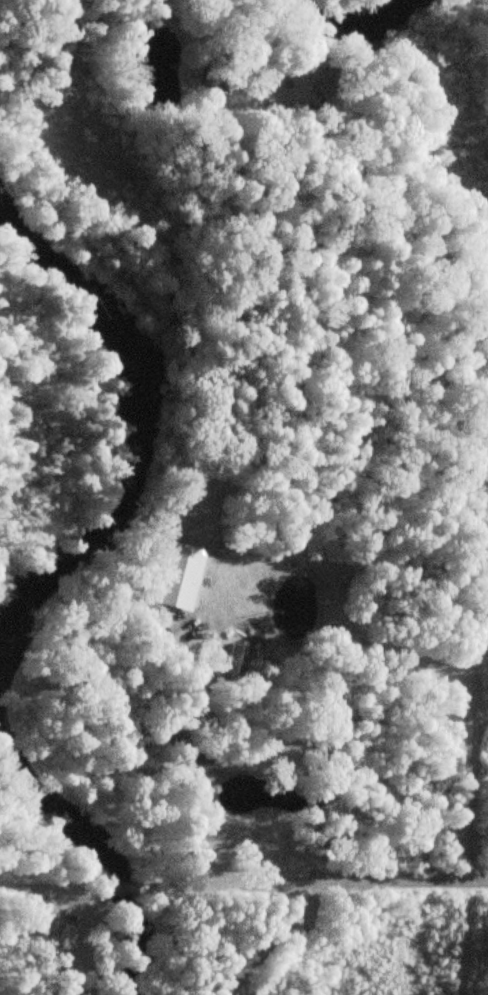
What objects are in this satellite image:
river: (347, 17)
building: (318, 84)
road: (399, 211)
river: (146, 436)
road: (474, 713)
road: (287, 760)
building: (217, 846)
river: (96, 849)
road: (344, 887)
road: (275, 944)

